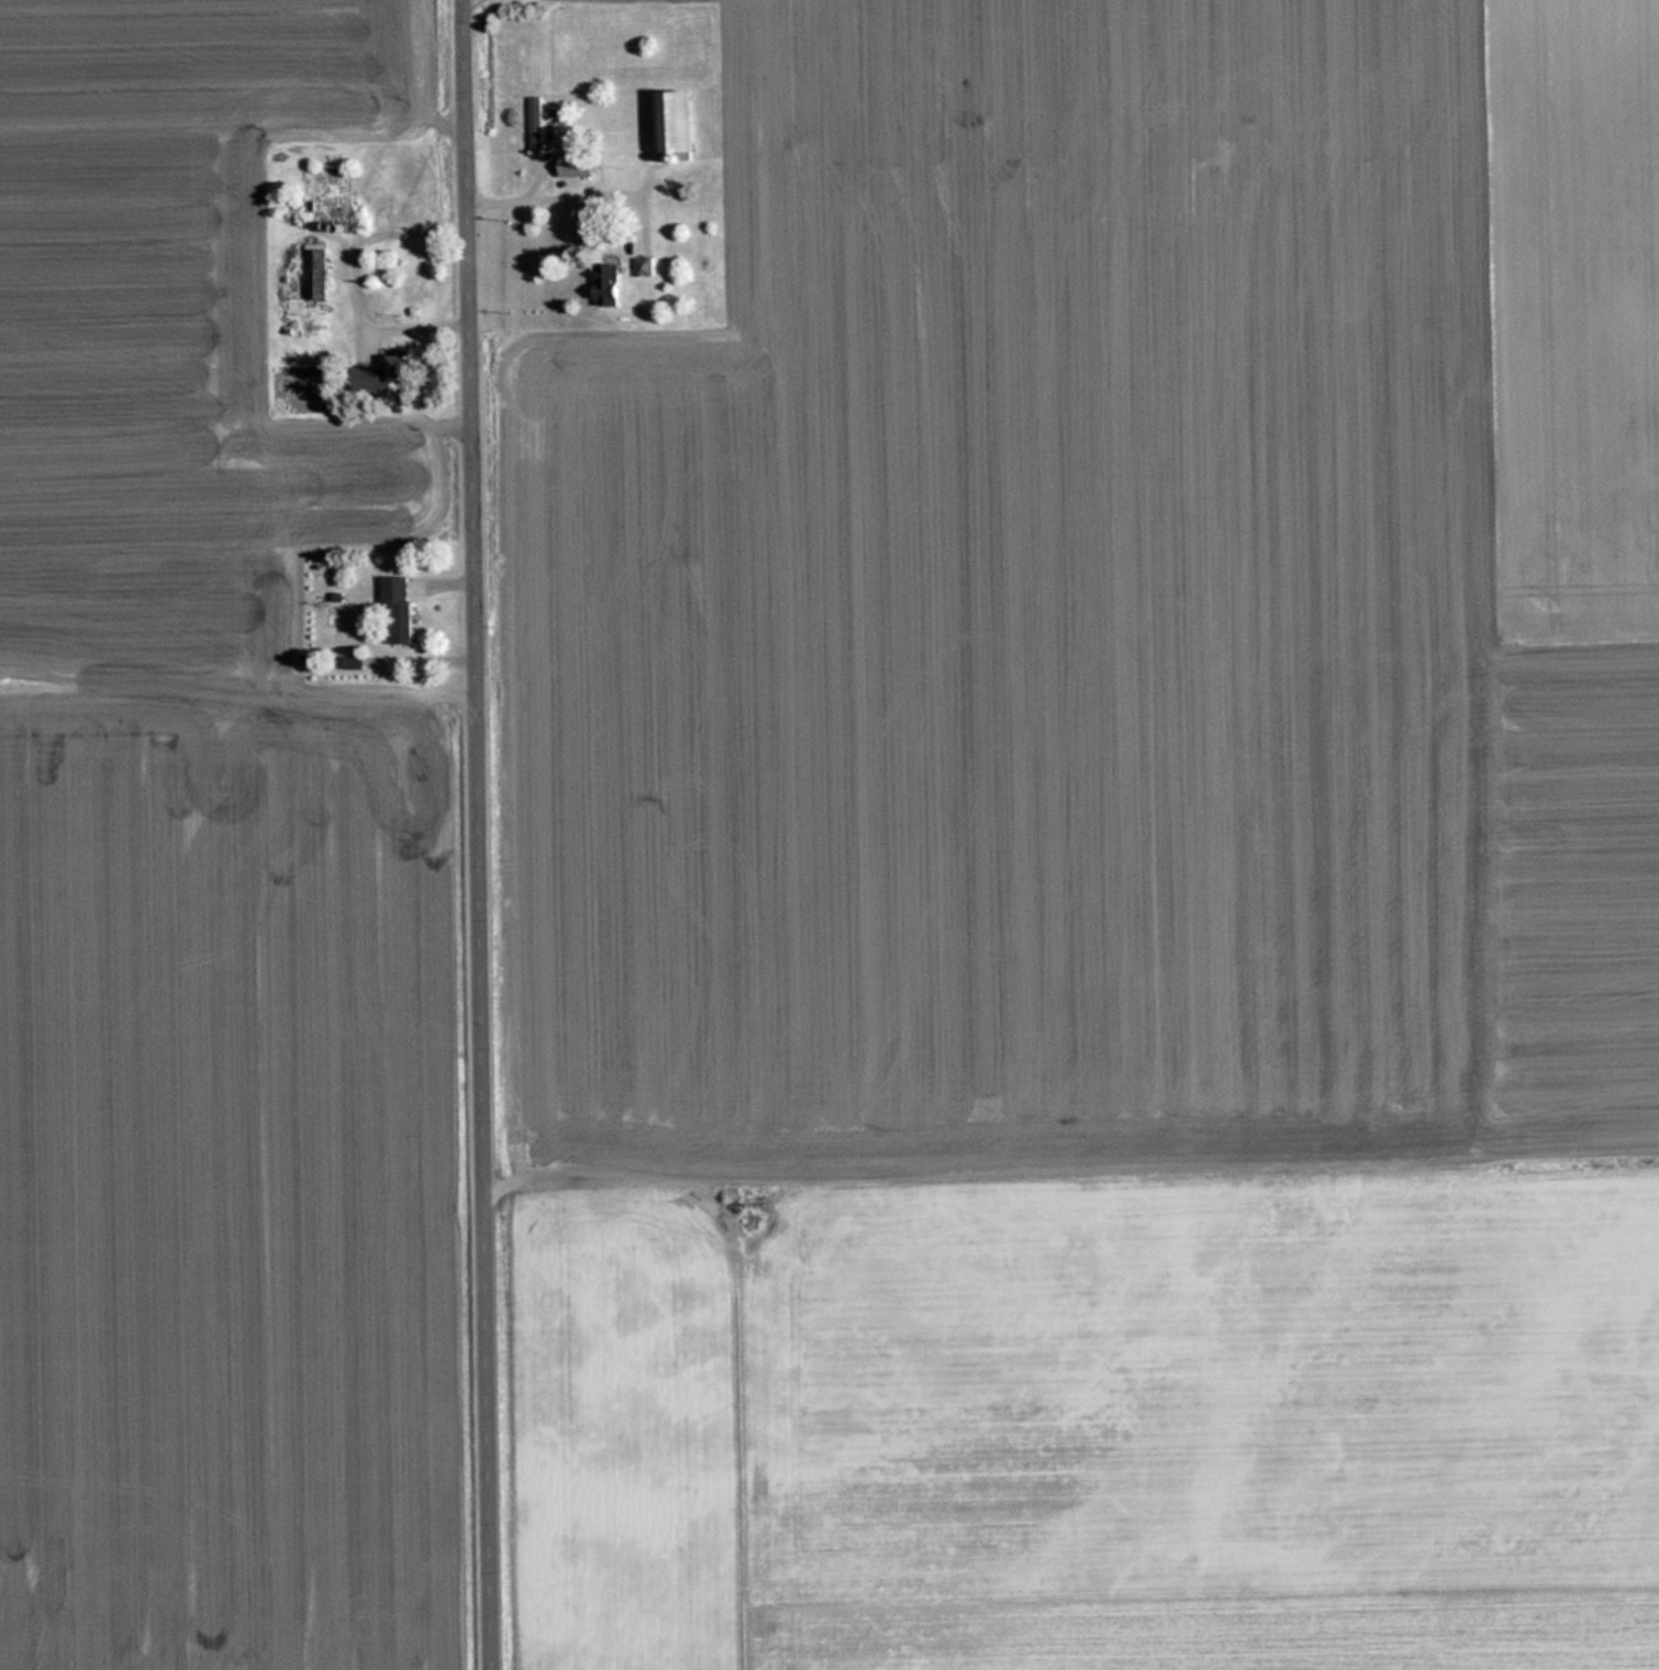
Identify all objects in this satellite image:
building: (677, 119)
building: (537, 122)
building: (579, 164)
building: (324, 192)
building: (646, 265)
building: (316, 274)
building: (610, 282)
building: (385, 374)
building: (401, 605)
road: (490, 834)

